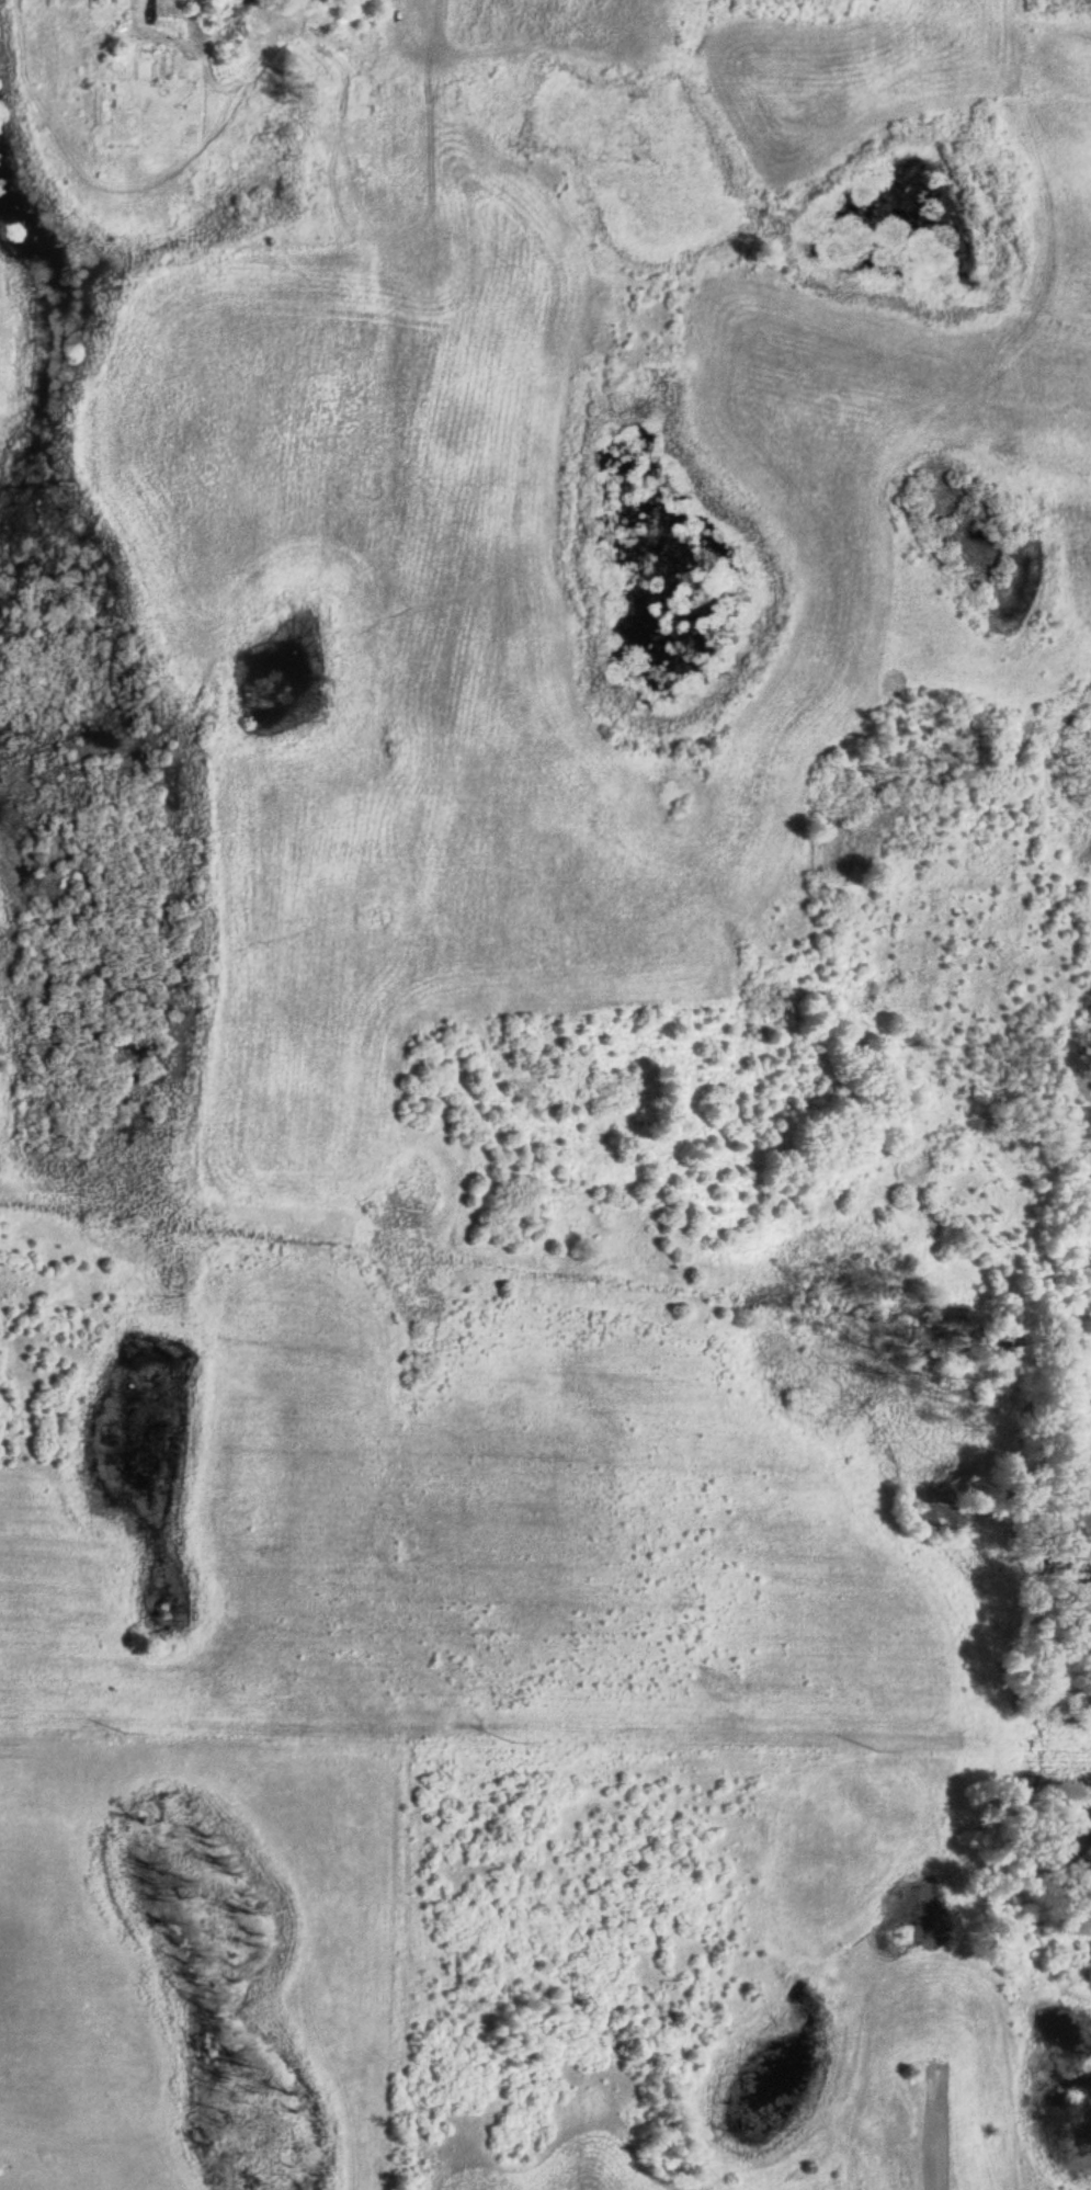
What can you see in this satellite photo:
building: (158, 13)

